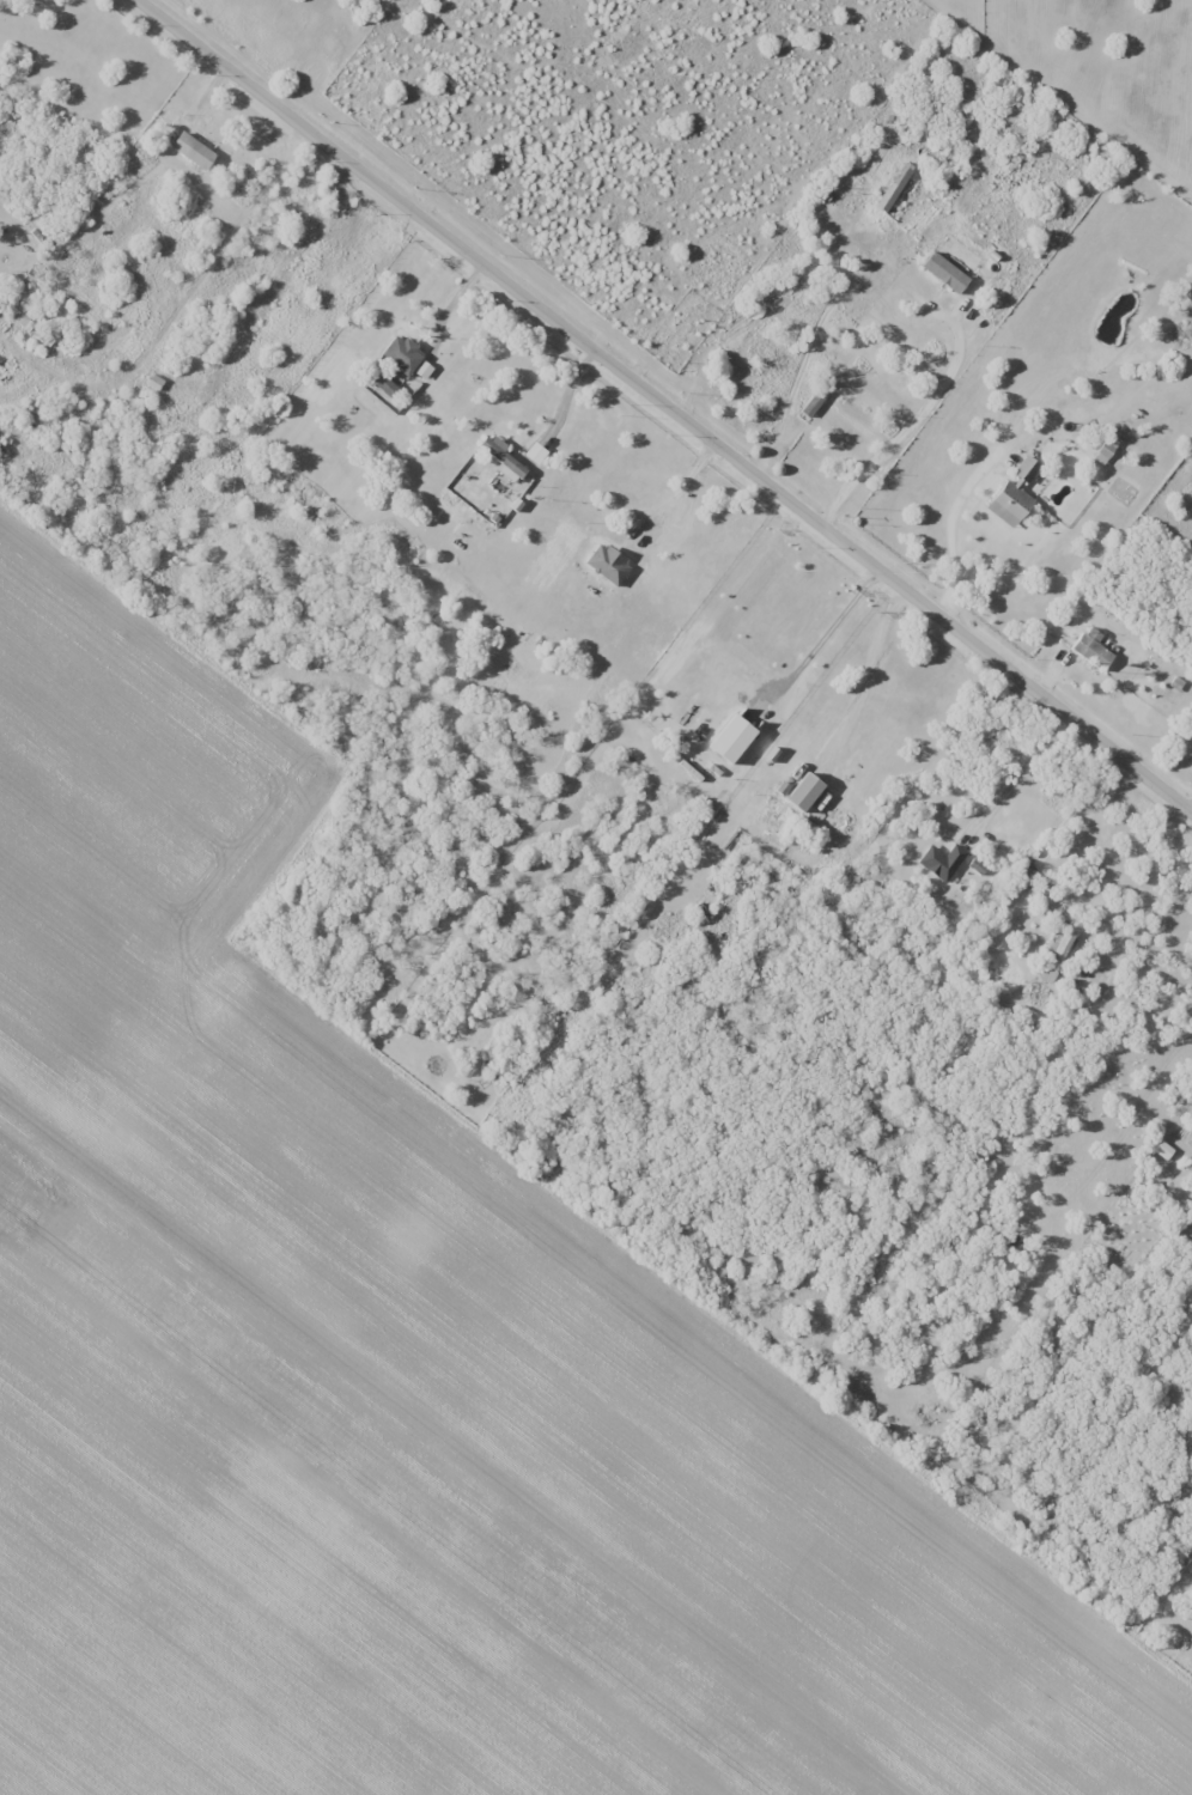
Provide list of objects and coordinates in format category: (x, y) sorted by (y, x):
building: (201, 154)
building: (889, 185)
building: (942, 273)
building: (32, 327)
building: (399, 354)
building: (777, 359)
building: (382, 387)
road: (570, 397)
road: (664, 406)
road: (905, 427)
building: (500, 460)
building: (1023, 469)
road: (680, 487)
building: (1005, 501)
road: (948, 525)
road: (816, 647)
building: (1090, 649)
road: (868, 684)
building: (725, 738)
road: (1018, 774)
building: (798, 791)
road: (1075, 814)
building: (936, 863)

